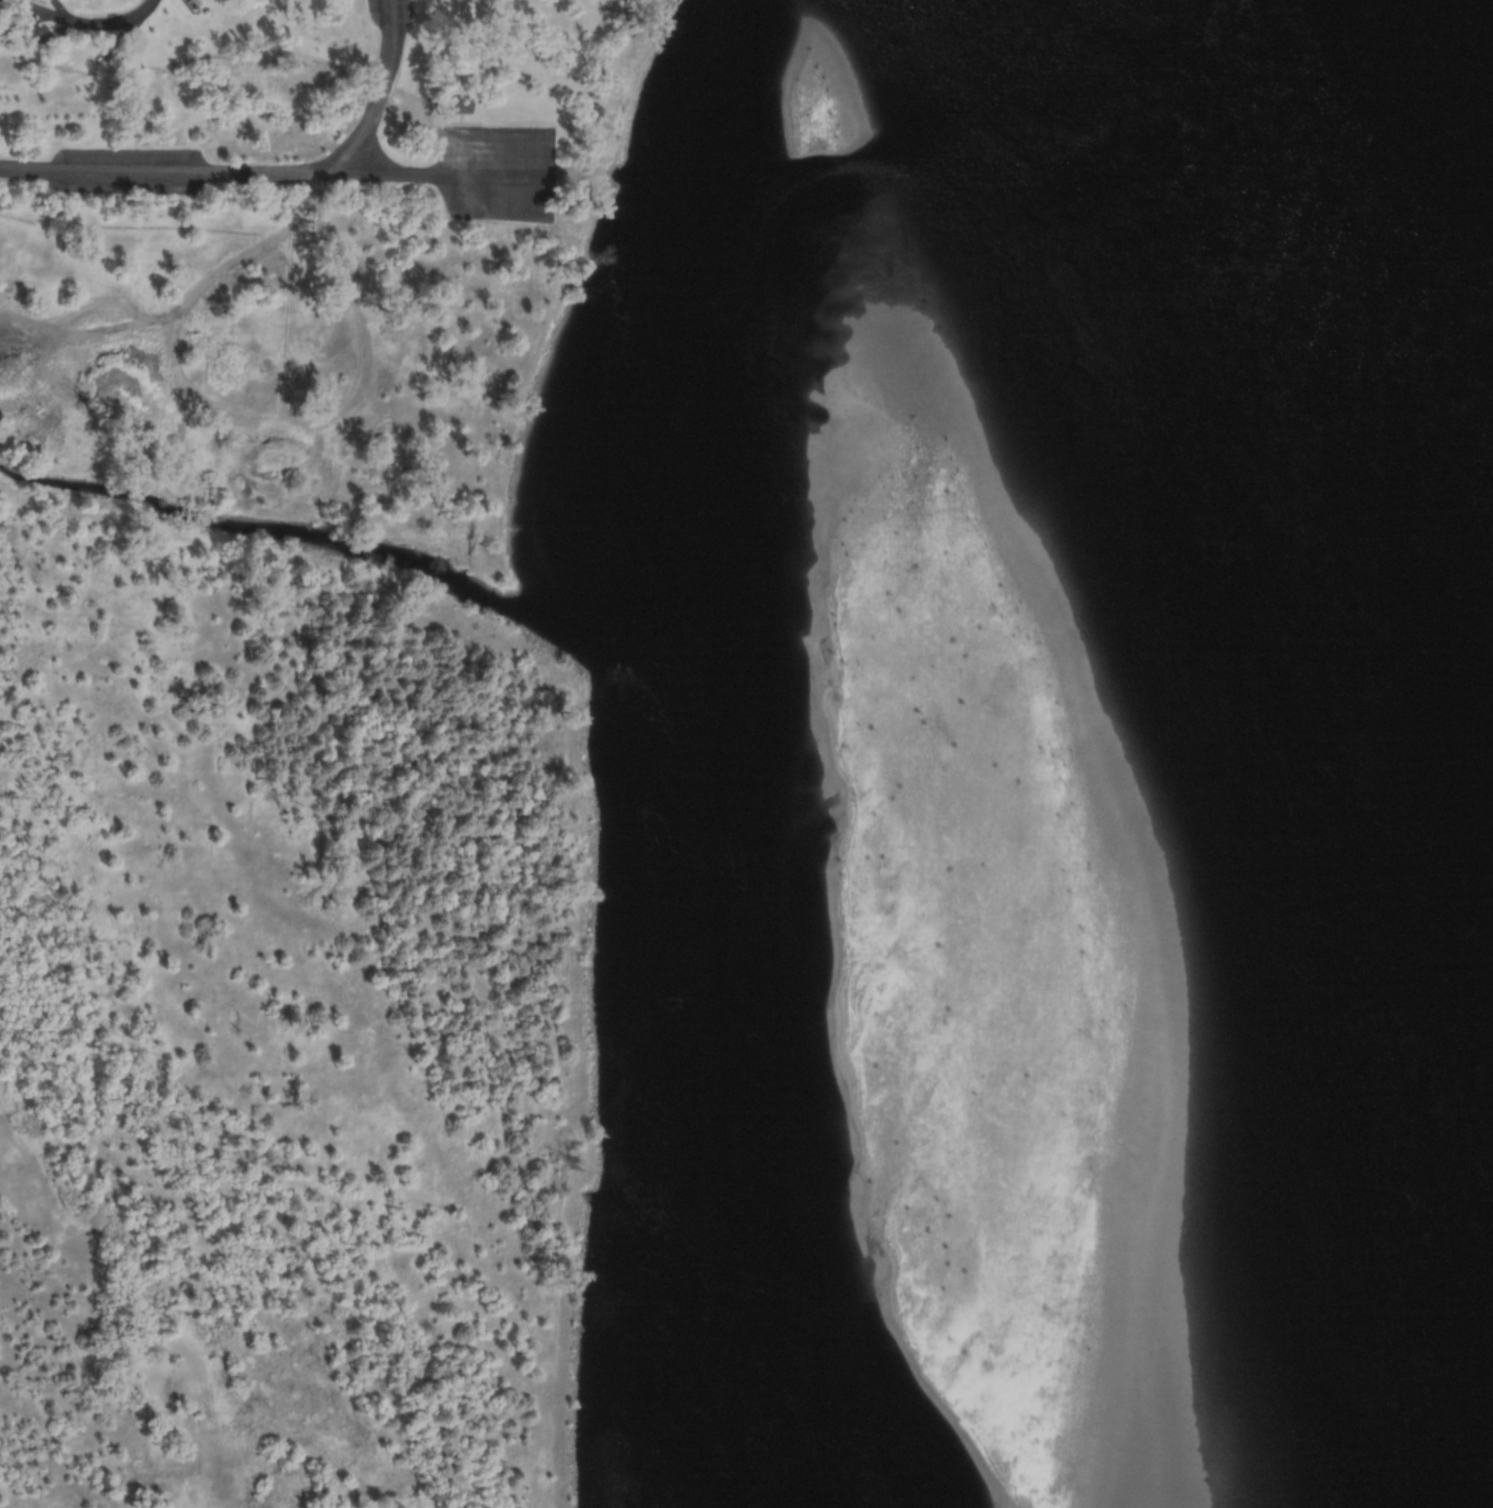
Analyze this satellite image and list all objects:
road: (82, 19)
building: (456, 105)
road: (259, 173)
parking lot: (496, 173)
river: (1310, 750)

